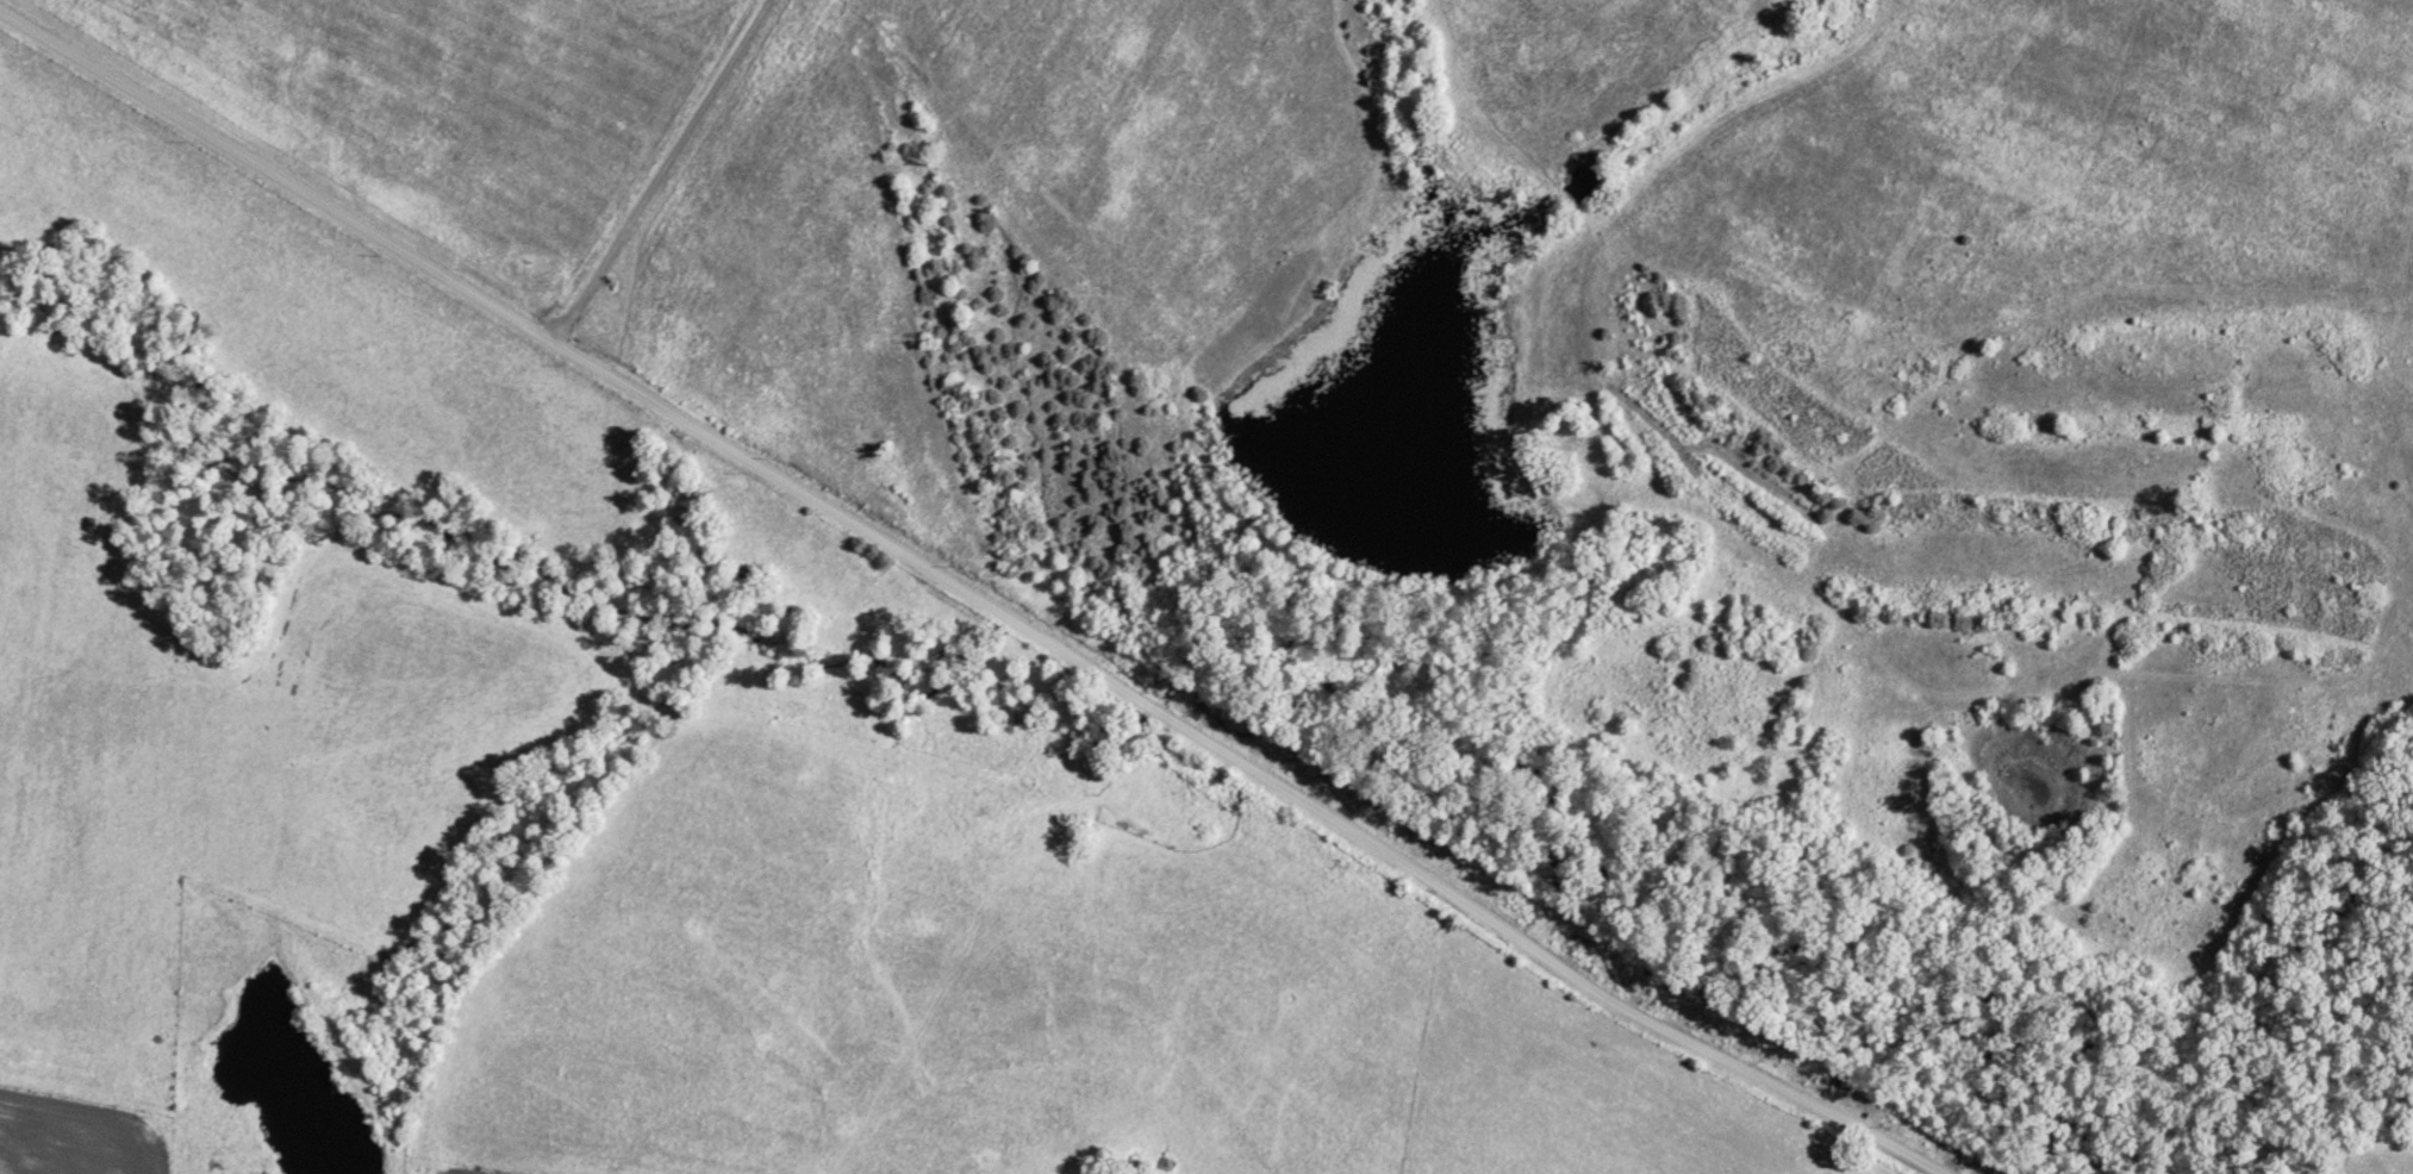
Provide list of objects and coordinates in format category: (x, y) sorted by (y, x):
road: (665, 171)
road: (959, 592)

